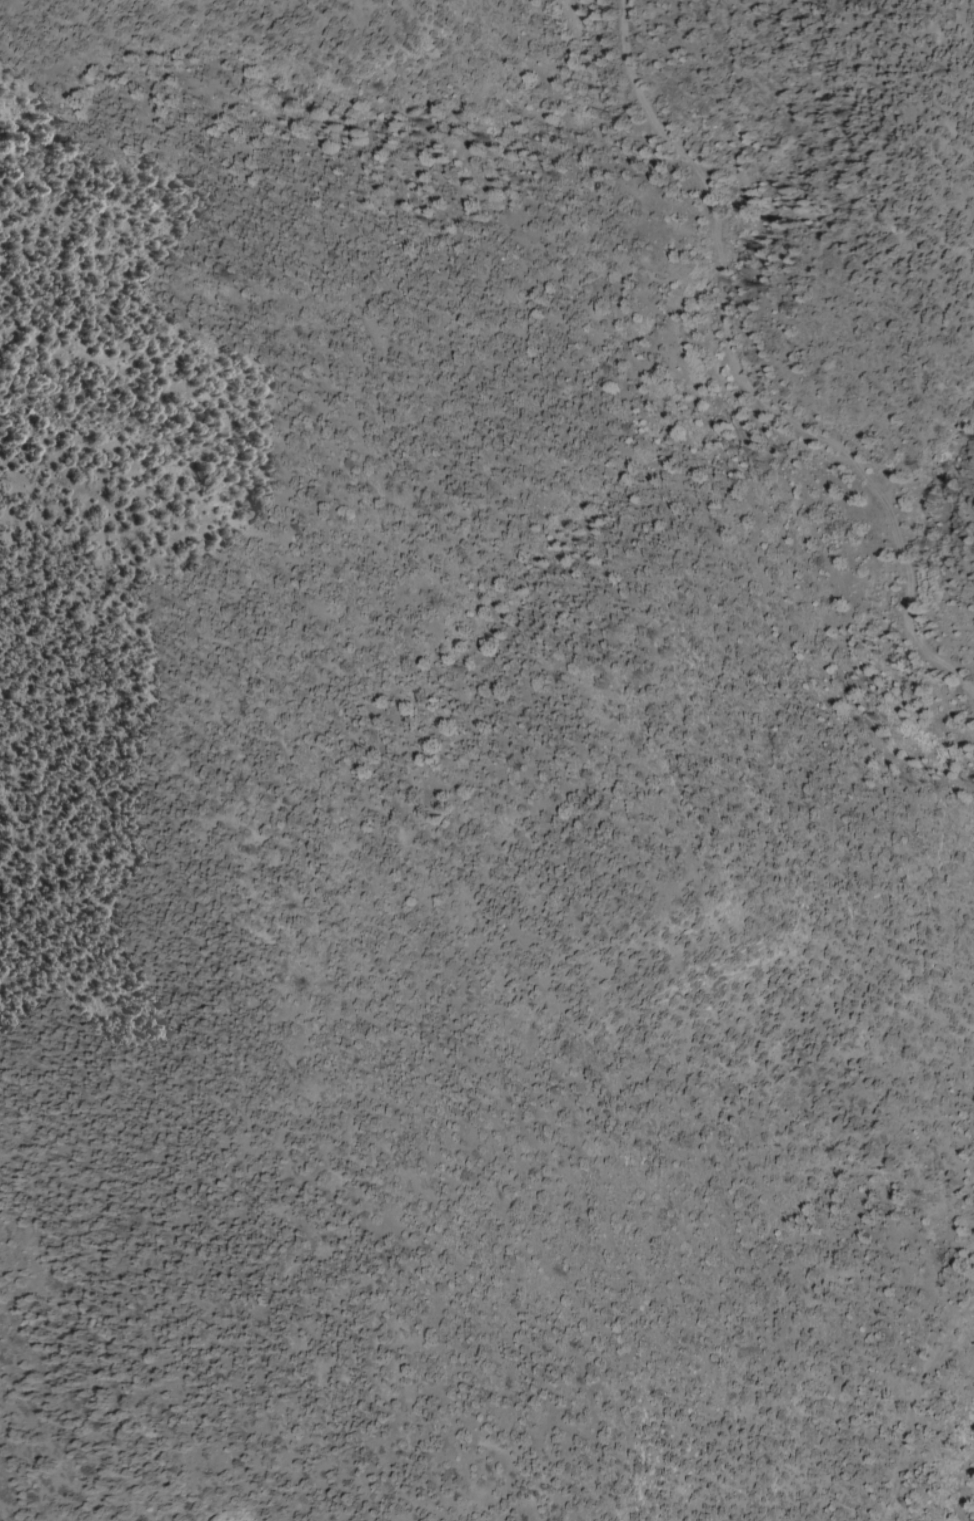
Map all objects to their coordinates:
road: (734, 381)

